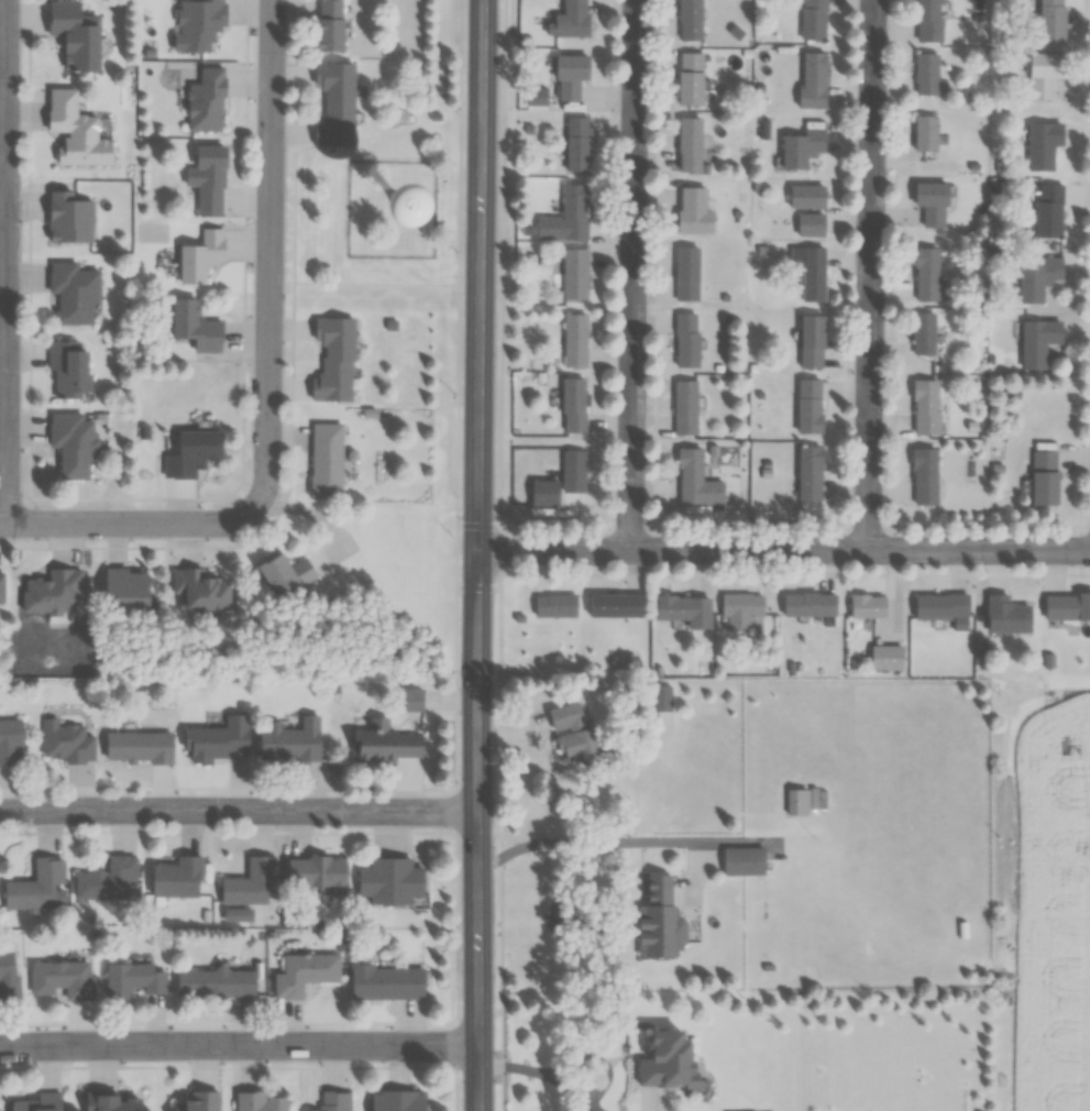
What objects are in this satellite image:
building: (690, 20)
building: (813, 20)
building: (927, 21)
building: (1050, 21)
building: (561, 23)
building: (196, 24)
building: (327, 25)
building: (73, 36)
building: (926, 73)
building: (1045, 74)
building: (690, 79)
building: (812, 79)
building: (562, 81)
building: (528, 99)
building: (206, 101)
building: (333, 105)
street lamp: (459, 106)
building: (77, 131)
building: (925, 133)
road: (288, 143)
road: (453, 144)
building: (689, 144)
building: (1042, 145)
building: (801, 147)
building: (569, 151)
building: (207, 179)
building: (805, 196)
building: (932, 204)
building: (1048, 210)
building: (693, 211)
building: (378, 217)
building: (68, 218)
building: (559, 222)
road: (236, 240)
water tower: (367, 241)
street lamp: (459, 251)
building: (199, 256)
road: (268, 257)
road: (4, 262)
building: (686, 273)
road: (634, 274)
building: (813, 274)
building: (926, 274)
road: (870, 275)
building: (1037, 278)
building: (568, 279)
building: (73, 293)
building: (194, 327)
building: (924, 333)
building: (686, 339)
building: (811, 341)
building: (1037, 342)
building: (568, 343)
building: (333, 360)
building: (68, 372)
building: (808, 406)
building: (685, 407)
building: (925, 408)
building: (568, 411)
building: (73, 443)
building: (191, 453)
building: (326, 460)
building: (808, 473)
building: (566, 475)
building: (924, 476)
building: (1043, 477)
building: (696, 480)
building: (537, 496)
road: (122, 502)
road: (126, 525)
street lamp: (455, 525)
road: (568, 525)
road: (254, 535)
road: (784, 549)
road: (495, 554)
road: (477, 555)
building: (283, 573)
road: (792, 576)
building: (1, 586)
building: (123, 588)
building: (199, 588)
building: (52, 592)
building: (549, 608)
building: (607, 609)
building: (736, 609)
building: (802, 610)
building: (933, 610)
building: (859, 612)
building: (1061, 613)
building: (676, 615)
building: (513, 620)
building: (998, 620)
building: (878, 662)
road: (443, 702)
building: (653, 703)
building: (400, 704)
road: (506, 736)
building: (216, 739)
building: (10, 741)
building: (65, 741)
building: (289, 741)
building: (566, 741)
building: (378, 746)
building: (137, 747)
street lamp: (455, 779)
building: (796, 801)
road: (236, 810)
road: (449, 820)
road: (583, 838)
road: (718, 838)
building: (736, 866)
building: (317, 873)
building: (176, 877)
building: (107, 880)
building: (247, 882)
building: (383, 882)
building: (37, 887)
road: (696, 887)
building: (554, 910)
building: (650, 925)
building: (304, 974)
building: (8, 975)
building: (62, 979)
building: (133, 980)
building: (214, 983)
building: (379, 987)
road: (239, 1045)
street lamp: (456, 1065)
building: (654, 1067)
road: (546, 1074)
building: (197, 1101)
building: (258, 1101)
building: (333, 1101)
building: (38, 1102)
building: (111, 1102)
building: (389, 1102)
road: (654, 1104)

